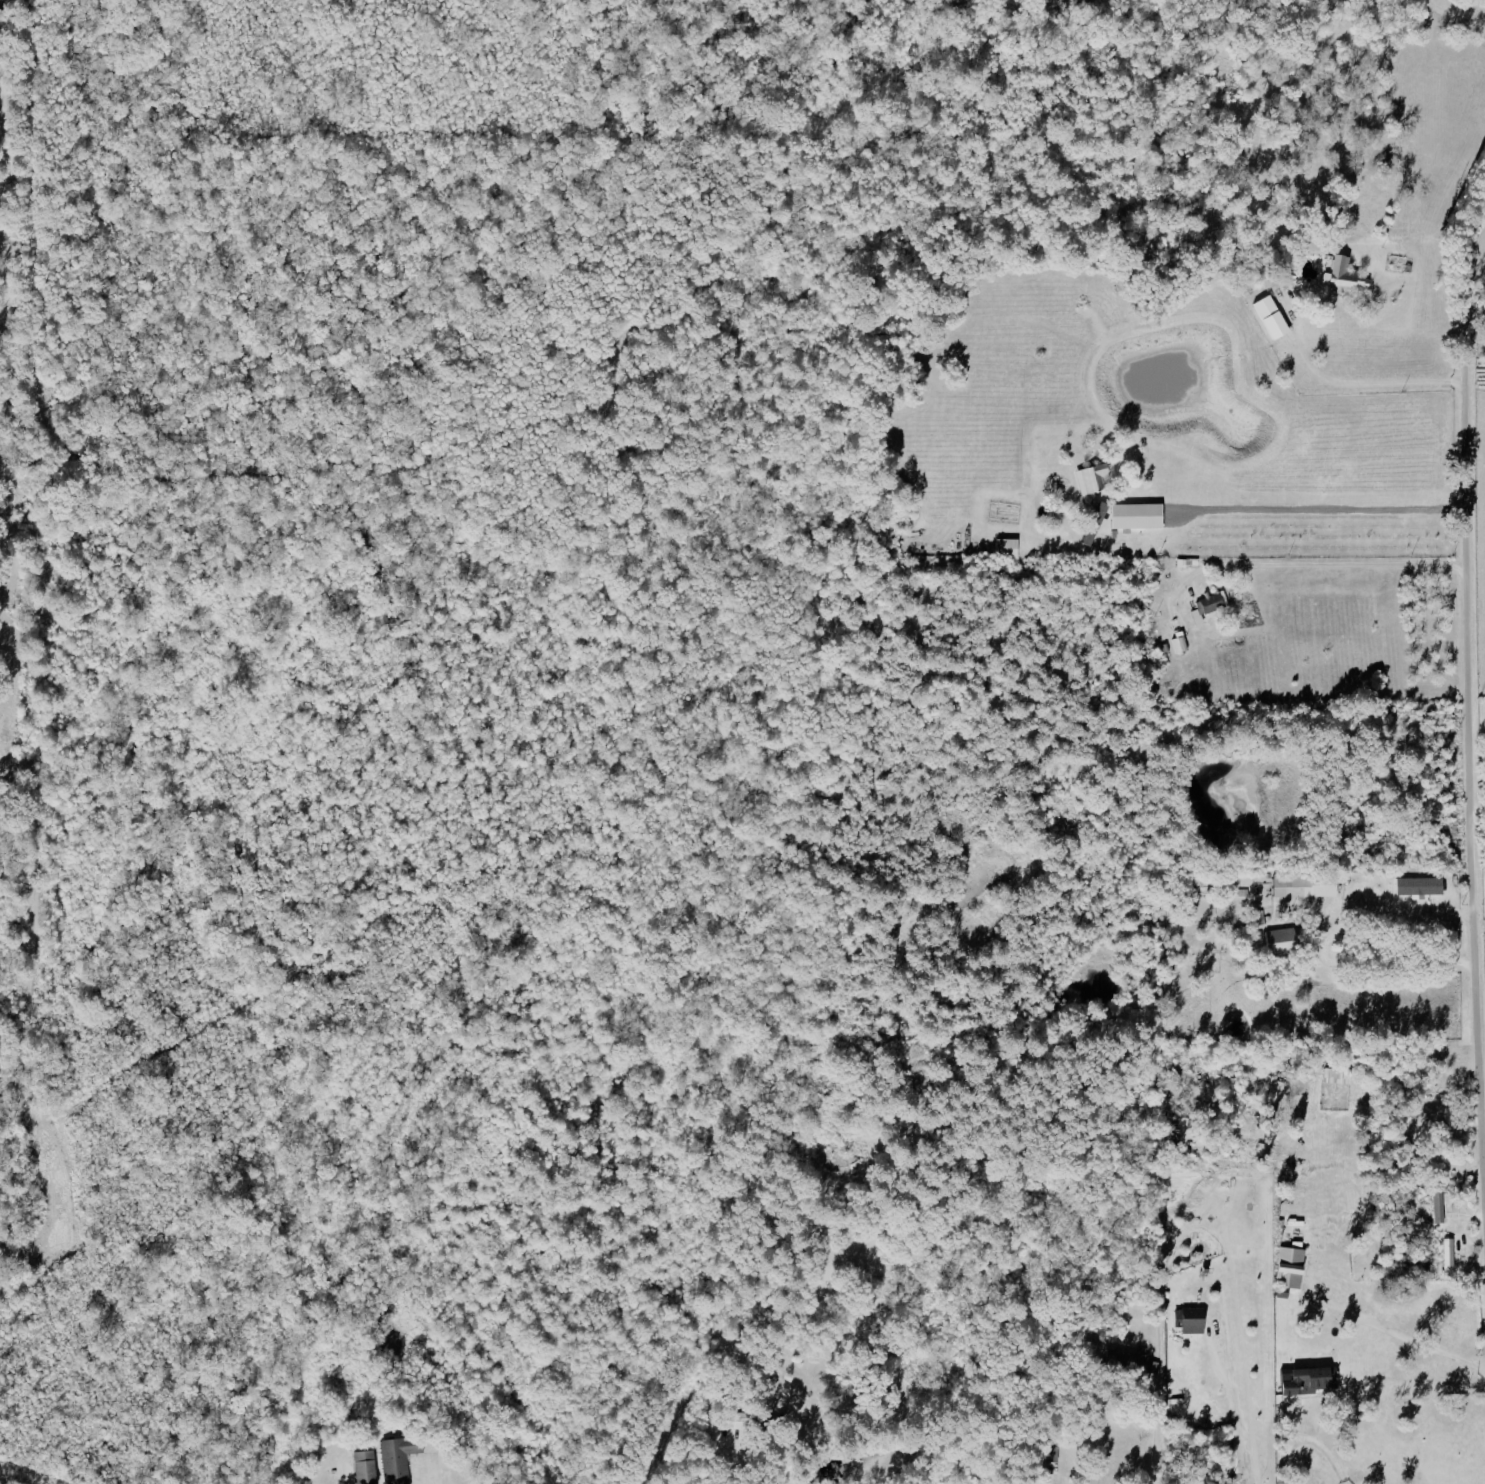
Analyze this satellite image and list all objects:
building: (1346, 278)
park: (1479, 293)
building: (1267, 308)
road: (1361, 386)
building: (1095, 480)
road: (1314, 507)
building: (1132, 517)
building: (1008, 548)
road: (1336, 569)
building: (1210, 606)
road: (1467, 698)
road: (1477, 811)
building: (1307, 885)
building: (1284, 942)
road: (1336, 965)
building: (1340, 1075)
building: (1440, 1207)
building: (1450, 1258)
building: (1292, 1267)
building: (1195, 1320)
road: (1402, 1334)
building: (1132, 1362)
building: (1310, 1381)
road: (1234, 1408)
road: (1305, 1439)
road: (1154, 1445)
road: (718, 1455)
building: (399, 1457)
building: (366, 1467)

